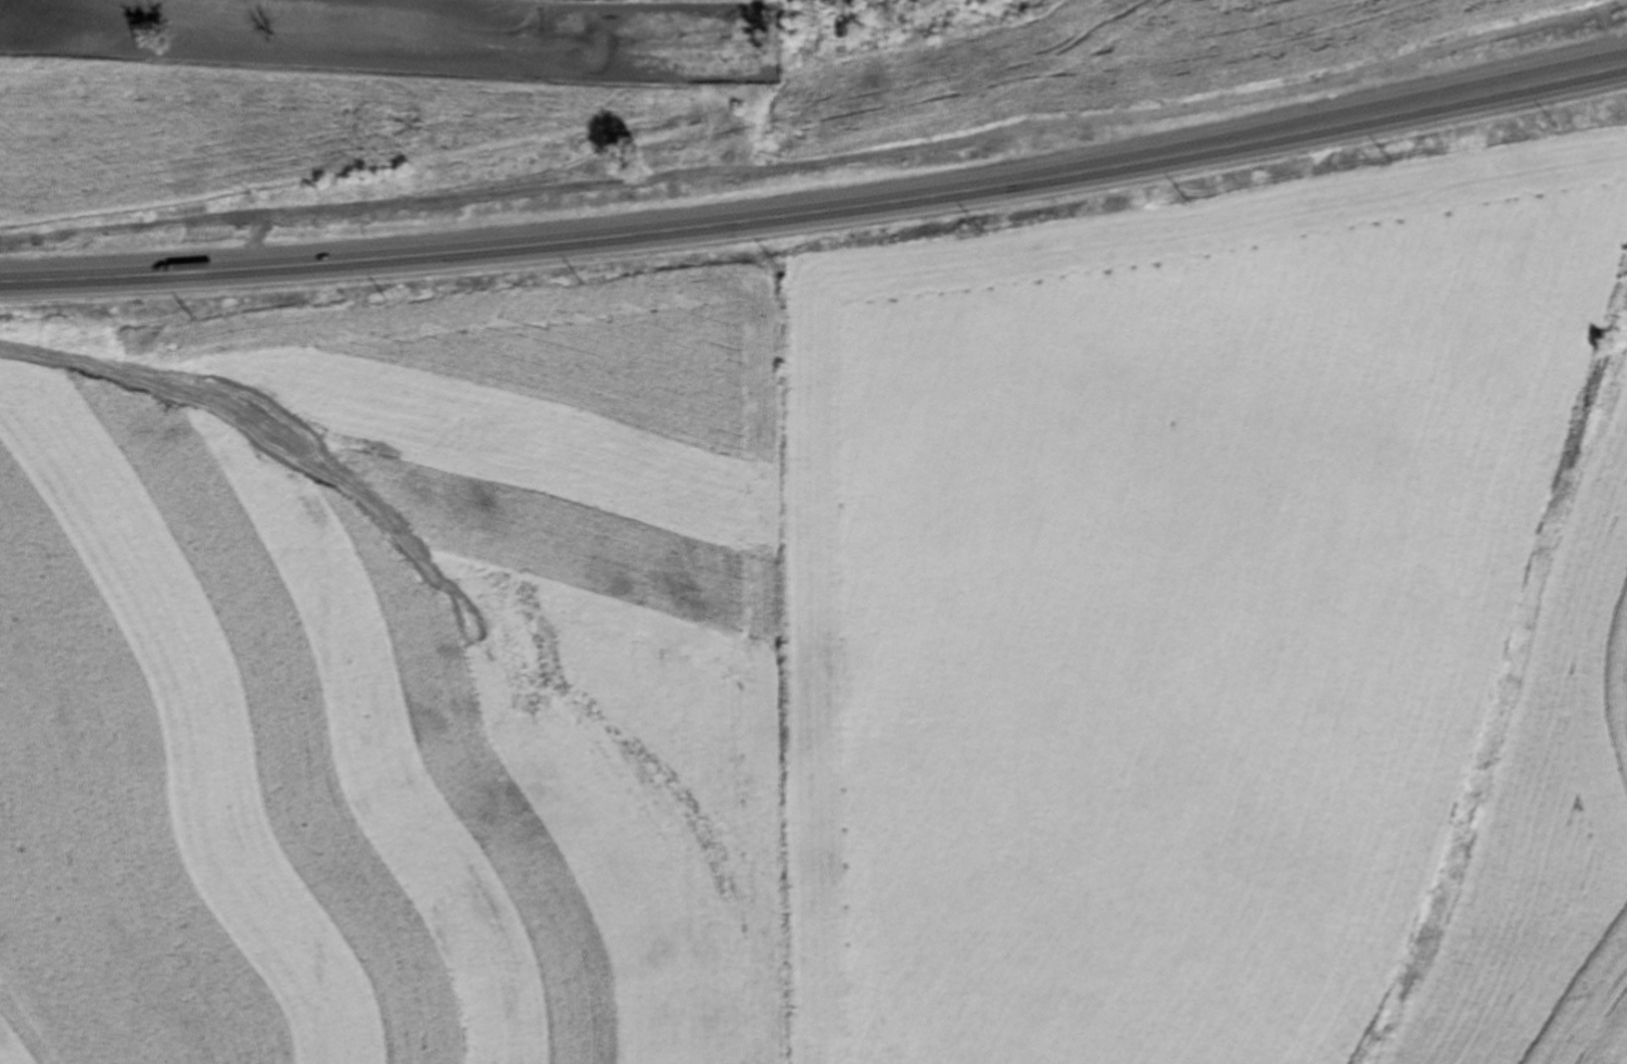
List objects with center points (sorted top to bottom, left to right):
road: (818, 211)

